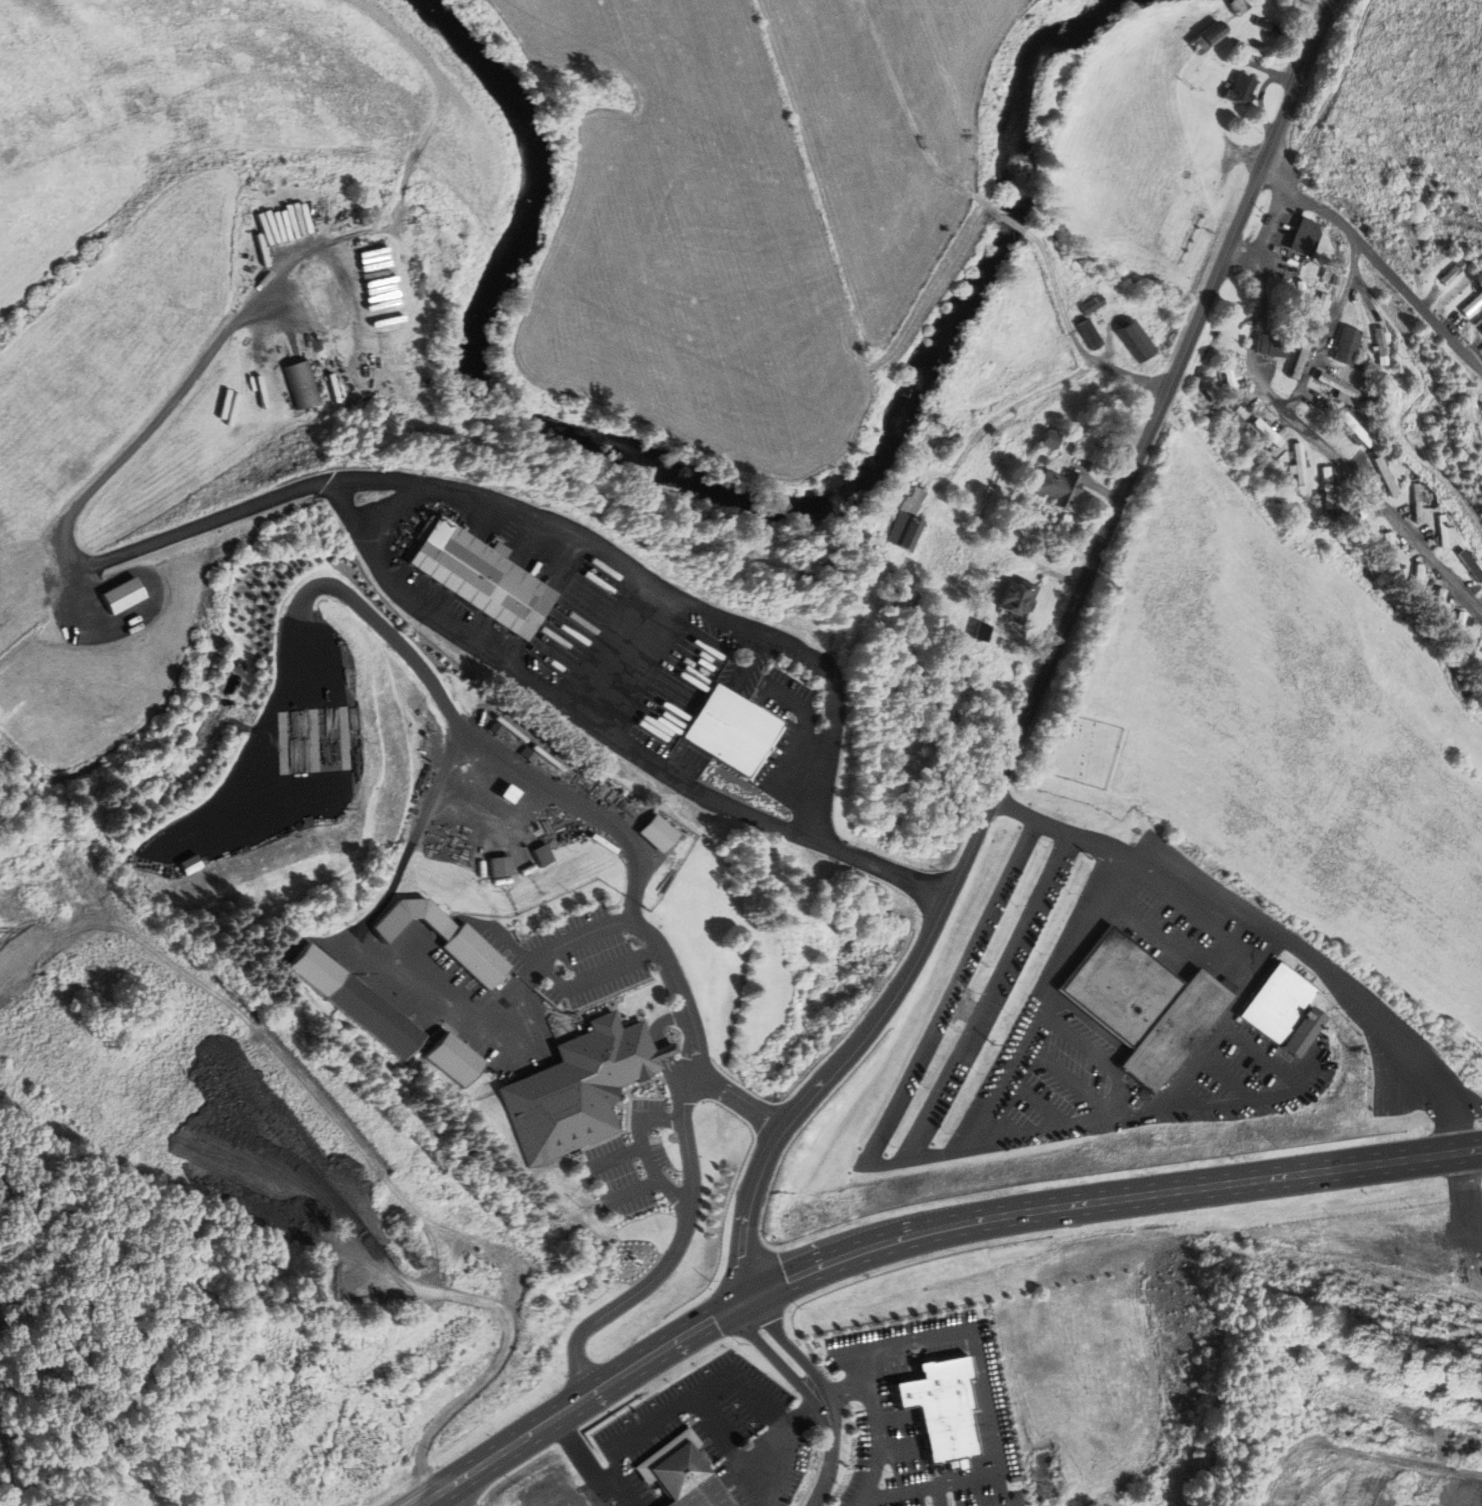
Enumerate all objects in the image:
building: (1236, 6)
building: (1268, 26)
building: (1212, 34)
building: (1197, 45)
building: (1249, 49)
road: (1273, 73)
river: (1024, 78)
building: (1206, 84)
building: (1239, 90)
road: (1261, 105)
road: (911, 119)
road: (1309, 202)
road: (1270, 220)
road: (1013, 224)
building: (1176, 226)
building: (1306, 237)
building: (1454, 272)
building: (1299, 301)
building: (1091, 304)
building: (1472, 304)
road: (1418, 305)
building: (1317, 313)
building: (1481, 318)
road: (1329, 328)
road: (1071, 333)
building: (1089, 334)
building: (1136, 340)
building: (1380, 341)
building: (1275, 345)
building: (1347, 345)
river: (471, 356)
building: (1298, 361)
river: (932, 365)
building: (1229, 378)
building: (301, 384)
building: (1338, 385)
building: (1240, 412)
road: (154, 427)
building: (1357, 429)
building: (1267, 431)
building: (1048, 439)
road: (1320, 443)
building: (1299, 464)
building: (1386, 476)
building: (1057, 487)
building: (1327, 487)
building: (1418, 502)
building: (1362, 517)
building: (1443, 530)
building: (908, 533)
building: (1390, 553)
building: (1471, 565)
street lamp: (572, 568)
building: (478, 577)
building: (1418, 578)
building: (121, 595)
building: (1013, 599)
building: (1438, 601)
building: (1458, 629)
building: (981, 631)
road: (1052, 662)
road: (505, 666)
street lamp: (512, 683)
road: (446, 701)
street lamp: (567, 723)
building: (727, 729)
street lamp: (621, 760)
building: (505, 794)
street lamp: (676, 794)
street lamp: (738, 826)
building: (1106, 831)
building: (660, 833)
building: (32, 854)
building: (543, 854)
street lamp: (813, 856)
road: (1125, 859)
street lamp: (911, 862)
building: (189, 865)
building: (500, 866)
road: (638, 873)
road: (1196, 875)
street lamp: (897, 894)
road: (375, 912)
road: (1168, 945)
building: (473, 956)
road: (546, 958)
road: (670, 965)
road: (564, 983)
road: (953, 992)
road: (997, 1000)
building: (1278, 1002)
building: (1144, 1004)
building: (961, 1009)
building: (375, 1016)
road: (1224, 1030)
building: (1303, 1030)
road: (514, 1040)
road: (697, 1049)
road: (1267, 1053)
building: (455, 1060)
road: (1234, 1078)
building: (576, 1088)
road: (1194, 1098)
road: (741, 1099)
road: (1105, 1119)
road: (648, 1151)
road: (619, 1157)
road: (1170, 1191)
road: (635, 1192)
road: (674, 1256)
building: (366, 1280)
traffic signals: (752, 1296)
road: (895, 1361)
road: (805, 1363)
road: (634, 1364)
building: (729, 1368)
road: (786, 1369)
road: (730, 1374)
road: (847, 1388)
road: (901, 1394)
road: (984, 1402)
building: (938, 1407)
road: (905, 1412)
road: (890, 1421)
road: (720, 1427)
road: (875, 1428)
road: (755, 1450)
road: (1378, 1457)
road: (590, 1468)
road: (827, 1474)
building: (686, 1480)
road: (935, 1495)
road: (432, 1503)

